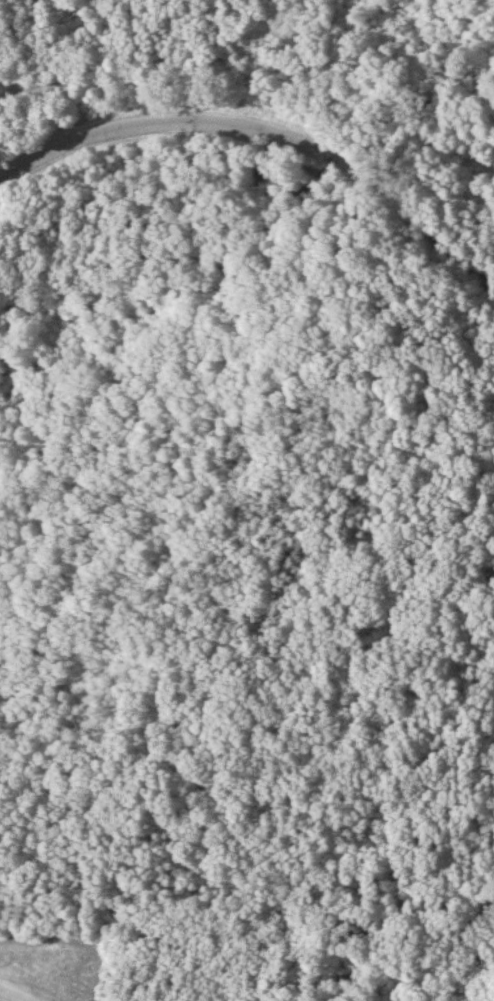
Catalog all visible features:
road: (266, 133)
park: (247, 500)

